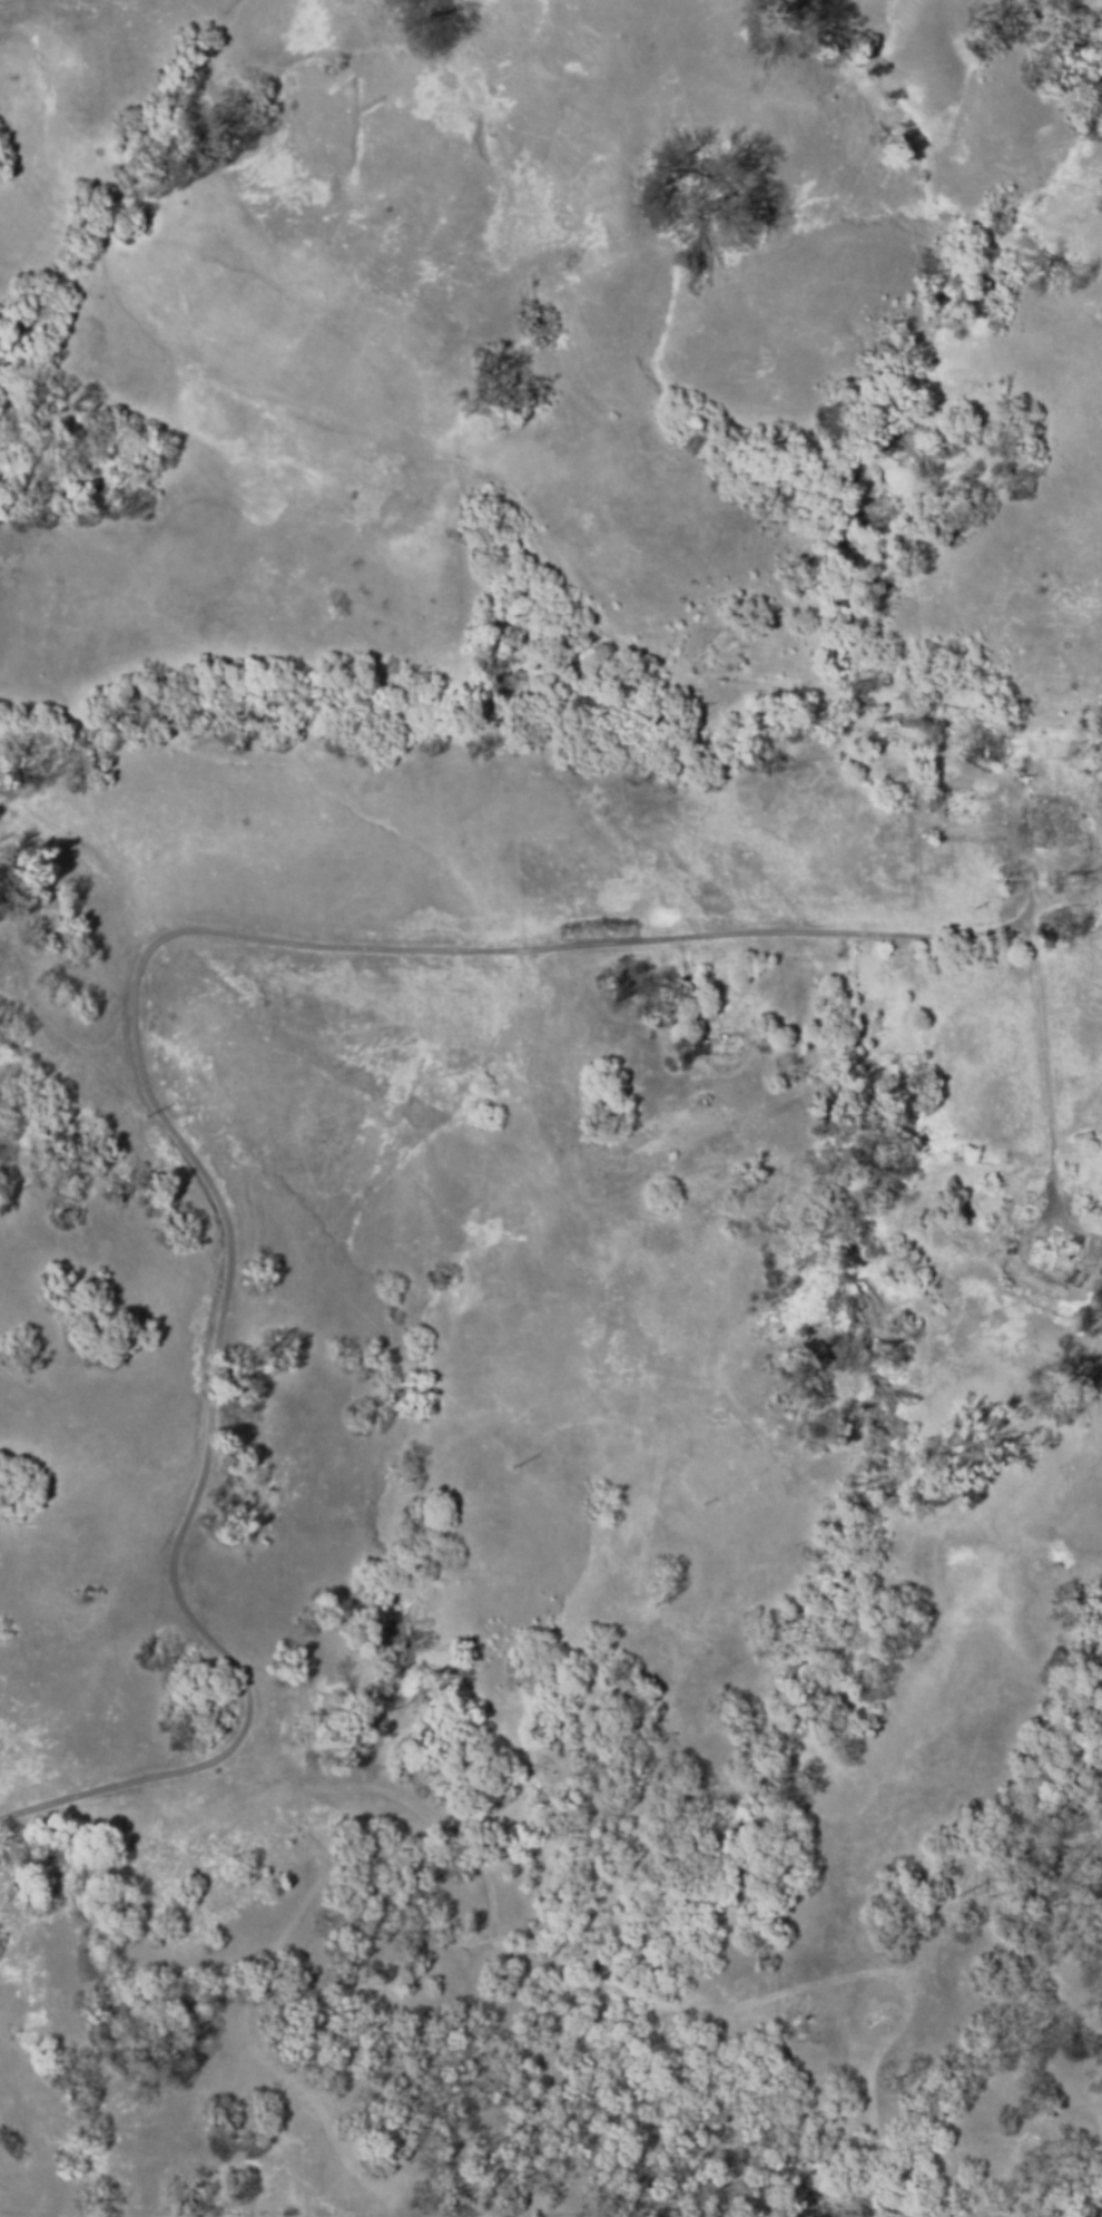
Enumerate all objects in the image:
road: (962, 534)
building: (994, 748)
building: (963, 802)
building: (1051, 818)
building: (1089, 840)
road: (1027, 854)
road: (1063, 905)
building: (1065, 915)
building: (603, 928)
road: (552, 949)
road: (402, 1034)
building: (718, 1042)
road: (1045, 1058)
road: (732, 1149)
building: (1031, 1195)
building: (1056, 1250)
building: (1101, 1287)
road: (177, 1514)

